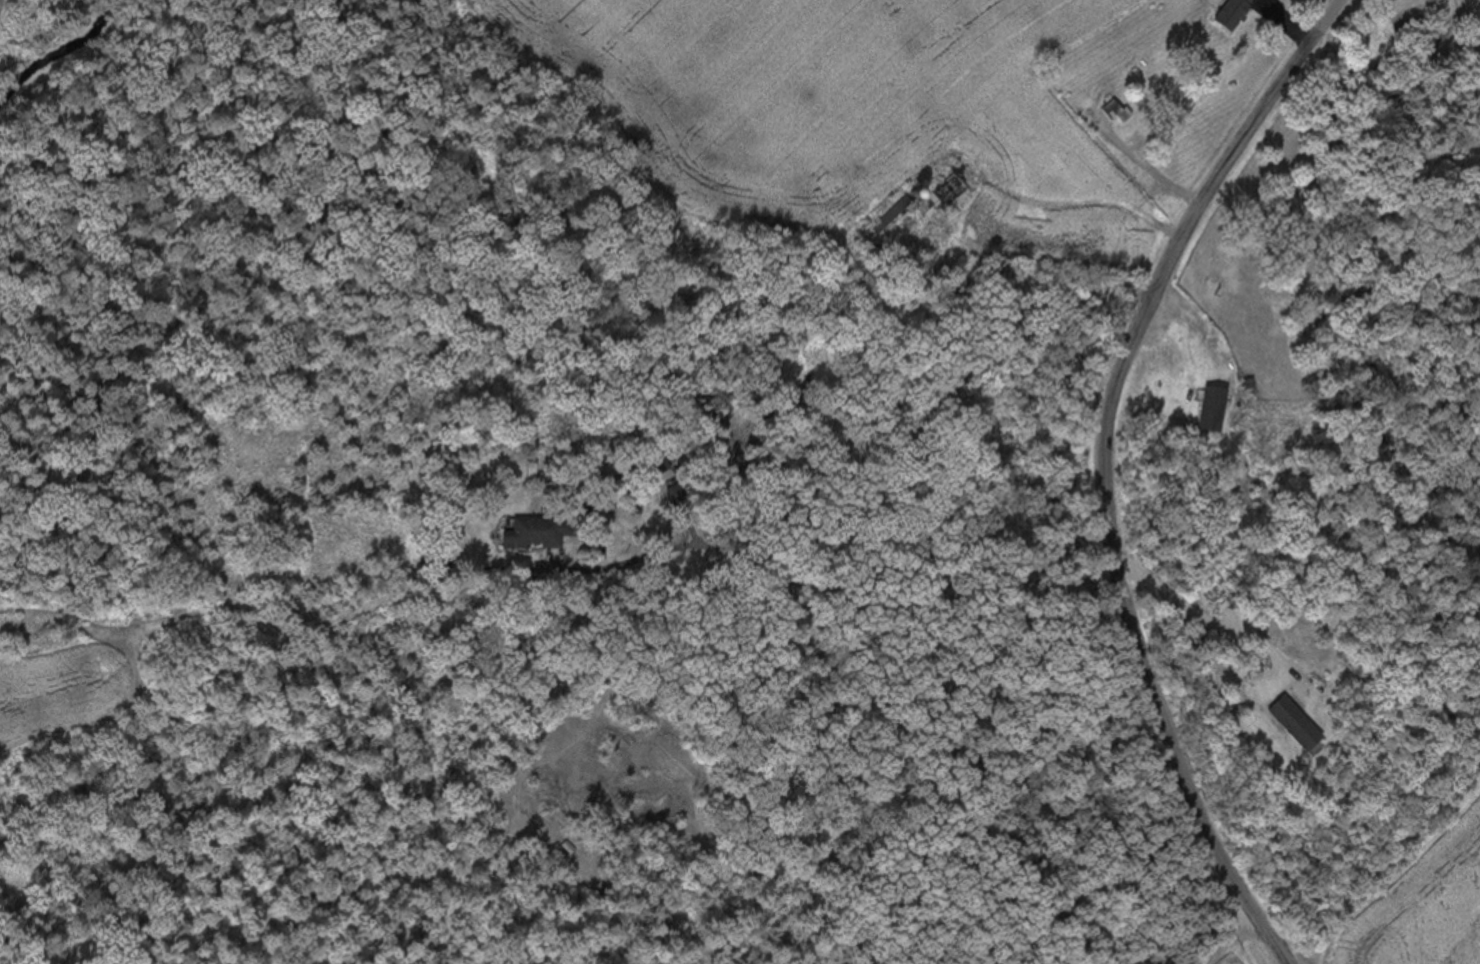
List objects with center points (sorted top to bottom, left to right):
building: (1235, 13)
building: (1380, 44)
building: (1080, 108)
building: (1116, 111)
building: (945, 197)
building: (896, 213)
building: (1217, 408)
road: (1107, 469)
road: (885, 487)
building: (538, 536)
building: (1299, 726)

